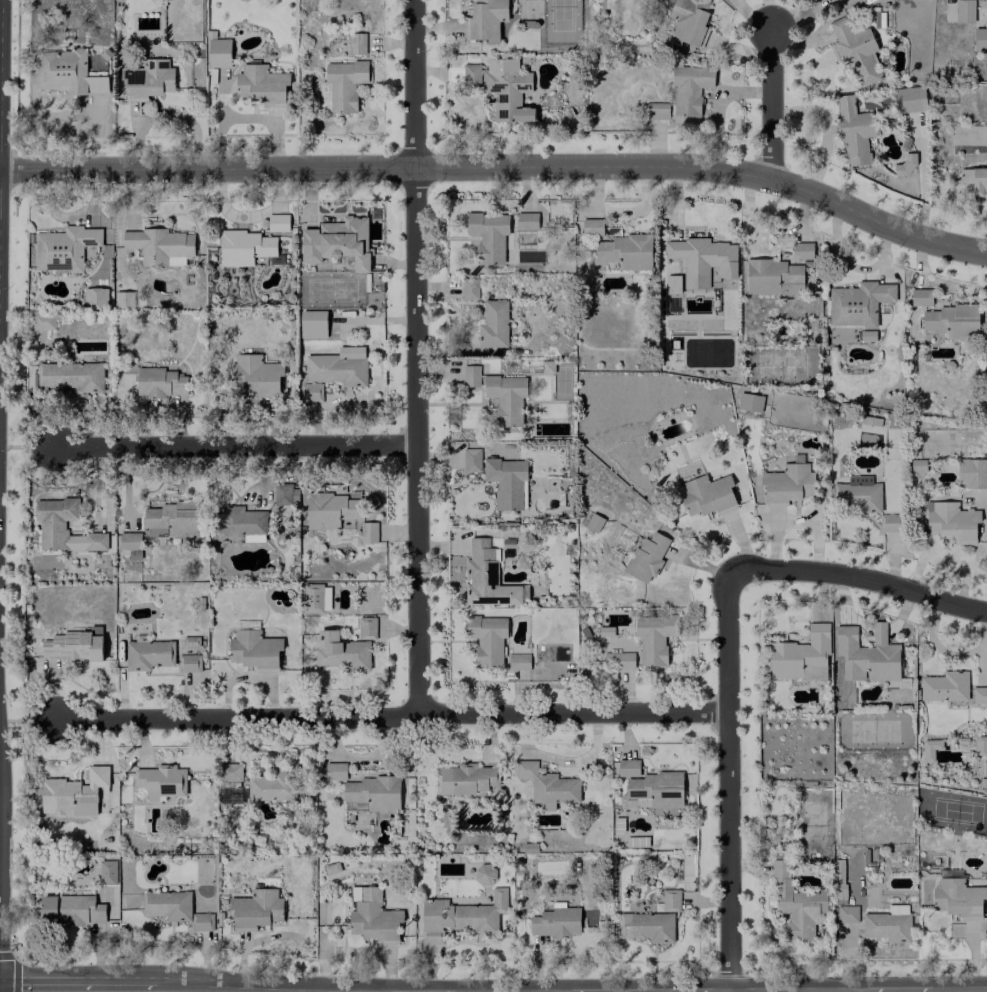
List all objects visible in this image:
building: (964, 11)
building: (485, 20)
building: (687, 21)
road: (767, 26)
building: (980, 39)
building: (356, 43)
building: (855, 50)
building: (218, 52)
building: (65, 73)
building: (470, 74)
building: (148, 80)
building: (261, 84)
building: (344, 84)
building: (689, 87)
building: (507, 89)
building: (910, 99)
road: (775, 104)
building: (655, 110)
building: (853, 130)
road: (500, 164)
building: (904, 165)
building: (975, 180)
building: (526, 220)
building: (277, 222)
building: (591, 226)
building: (336, 242)
building: (158, 244)
building: (64, 248)
building: (246, 248)
building: (626, 251)
building: (801, 252)
building: (702, 256)
building: (770, 275)
building: (468, 288)
building: (919, 296)
building: (95, 297)
building: (123, 299)
building: (858, 303)
building: (42, 321)
building: (951, 321)
building: (312, 323)
building: (493, 324)
building: (867, 335)
road: (417, 355)
building: (547, 366)
building: (333, 371)
building: (255, 374)
building: (71, 375)
building: (470, 375)
building: (160, 382)
building: (506, 398)
building: (749, 402)
road: (244, 441)
building: (471, 459)
building: (917, 465)
building: (971, 473)
building: (507, 482)
building: (788, 482)
building: (860, 493)
building: (707, 495)
building: (284, 496)
building: (330, 509)
building: (172, 520)
building: (239, 521)
building: (948, 521)
building: (593, 522)
building: (888, 522)
building: (63, 526)
building: (368, 532)
building: (130, 543)
building: (646, 557)
building: (483, 575)
road: (859, 577)
building: (318, 598)
building: (366, 627)
building: (654, 637)
building: (486, 638)
building: (73, 645)
building: (253, 649)
building: (341, 651)
building: (148, 654)
building: (867, 654)
building: (801, 656)
building: (618, 659)
building: (518, 661)
building: (188, 663)
building: (944, 686)
building: (979, 695)
road: (402, 710)
building: (980, 744)
building: (930, 748)
building: (230, 771)
building: (465, 778)
road: (730, 780)
building: (161, 781)
building: (272, 786)
building: (547, 786)
building: (653, 787)
building: (365, 790)
building: (637, 841)
building: (331, 868)
building: (484, 869)
building: (107, 872)
building: (957, 896)
building: (670, 900)
building: (166, 904)
building: (797, 904)
building: (256, 909)
building: (71, 910)
building: (847, 913)
building: (372, 915)
building: (460, 916)
building: (203, 921)
building: (555, 921)
building: (646, 926)
building: (887, 926)
road: (962, 988)
road: (896, 989)
road: (792, 990)
road: (855, 990)
road: (81, 991)
road: (512, 991)
road: (558, 991)
road: (643, 991)

